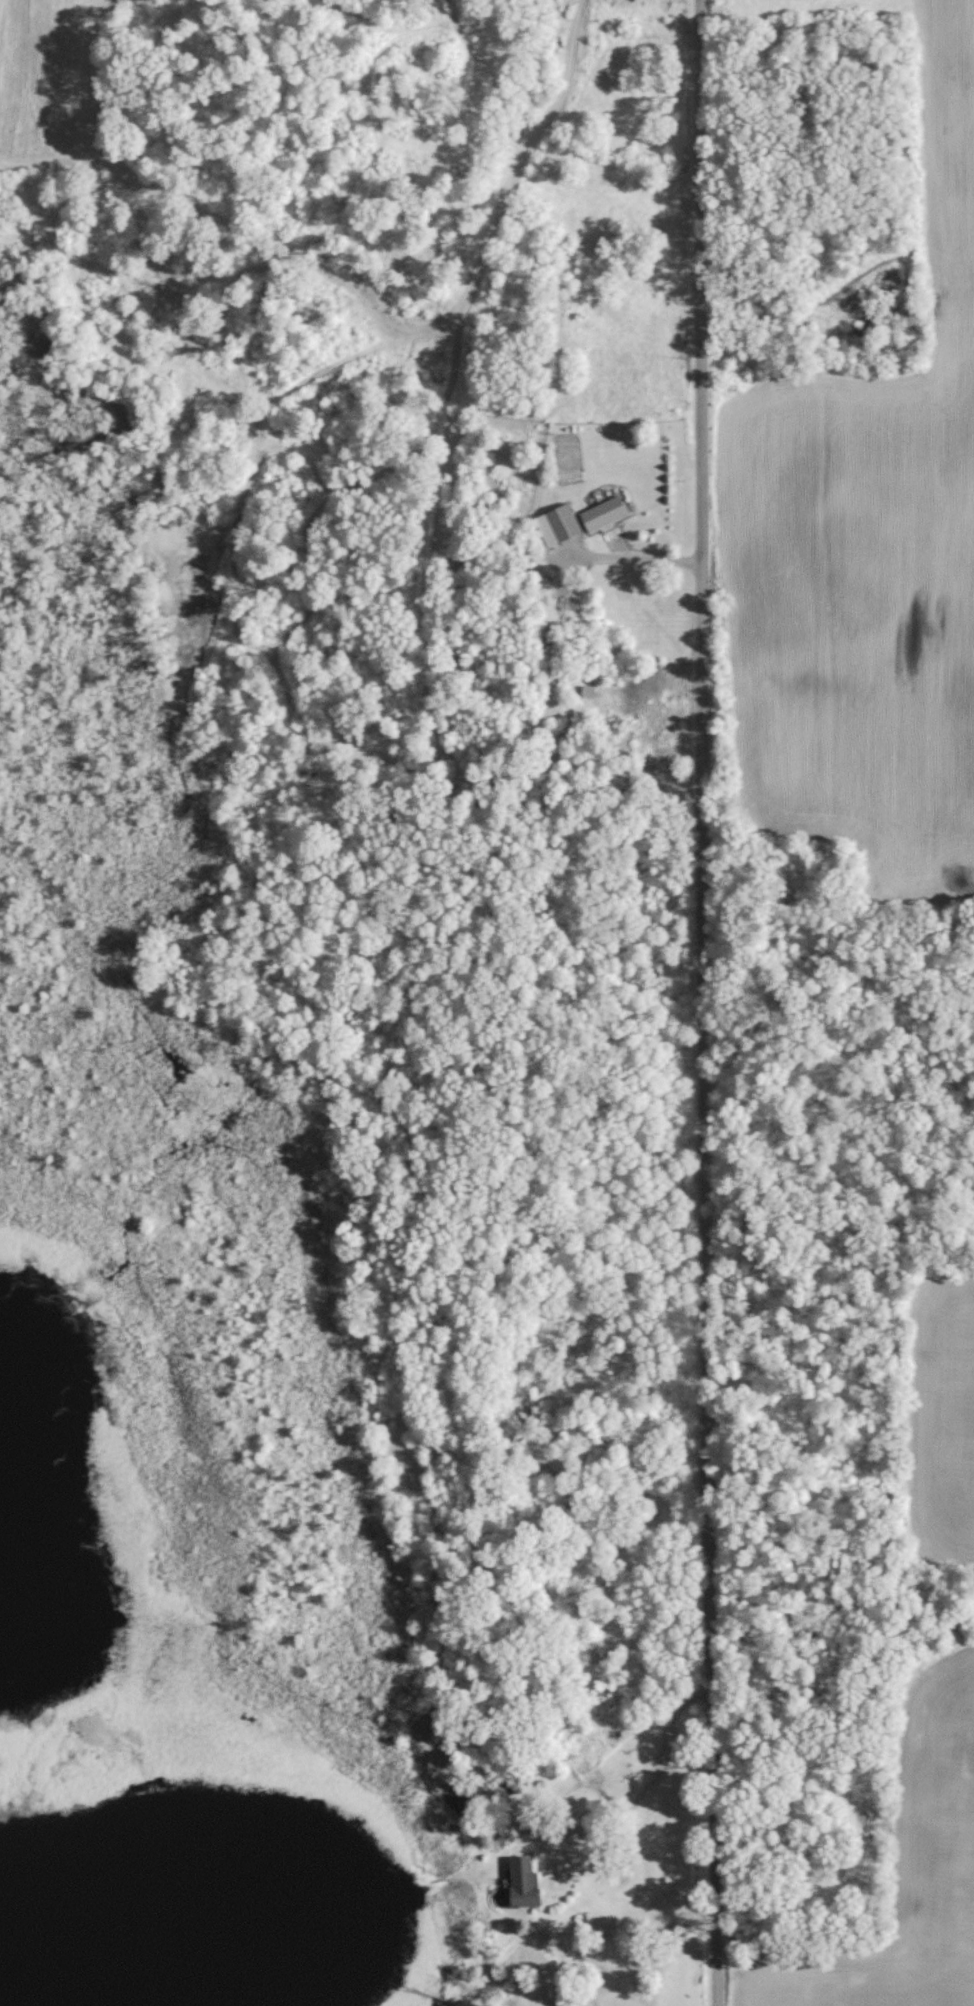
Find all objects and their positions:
building: (598, 513)
building: (560, 521)
road: (631, 558)
road: (697, 1003)
road: (639, 1790)
building: (519, 1881)

